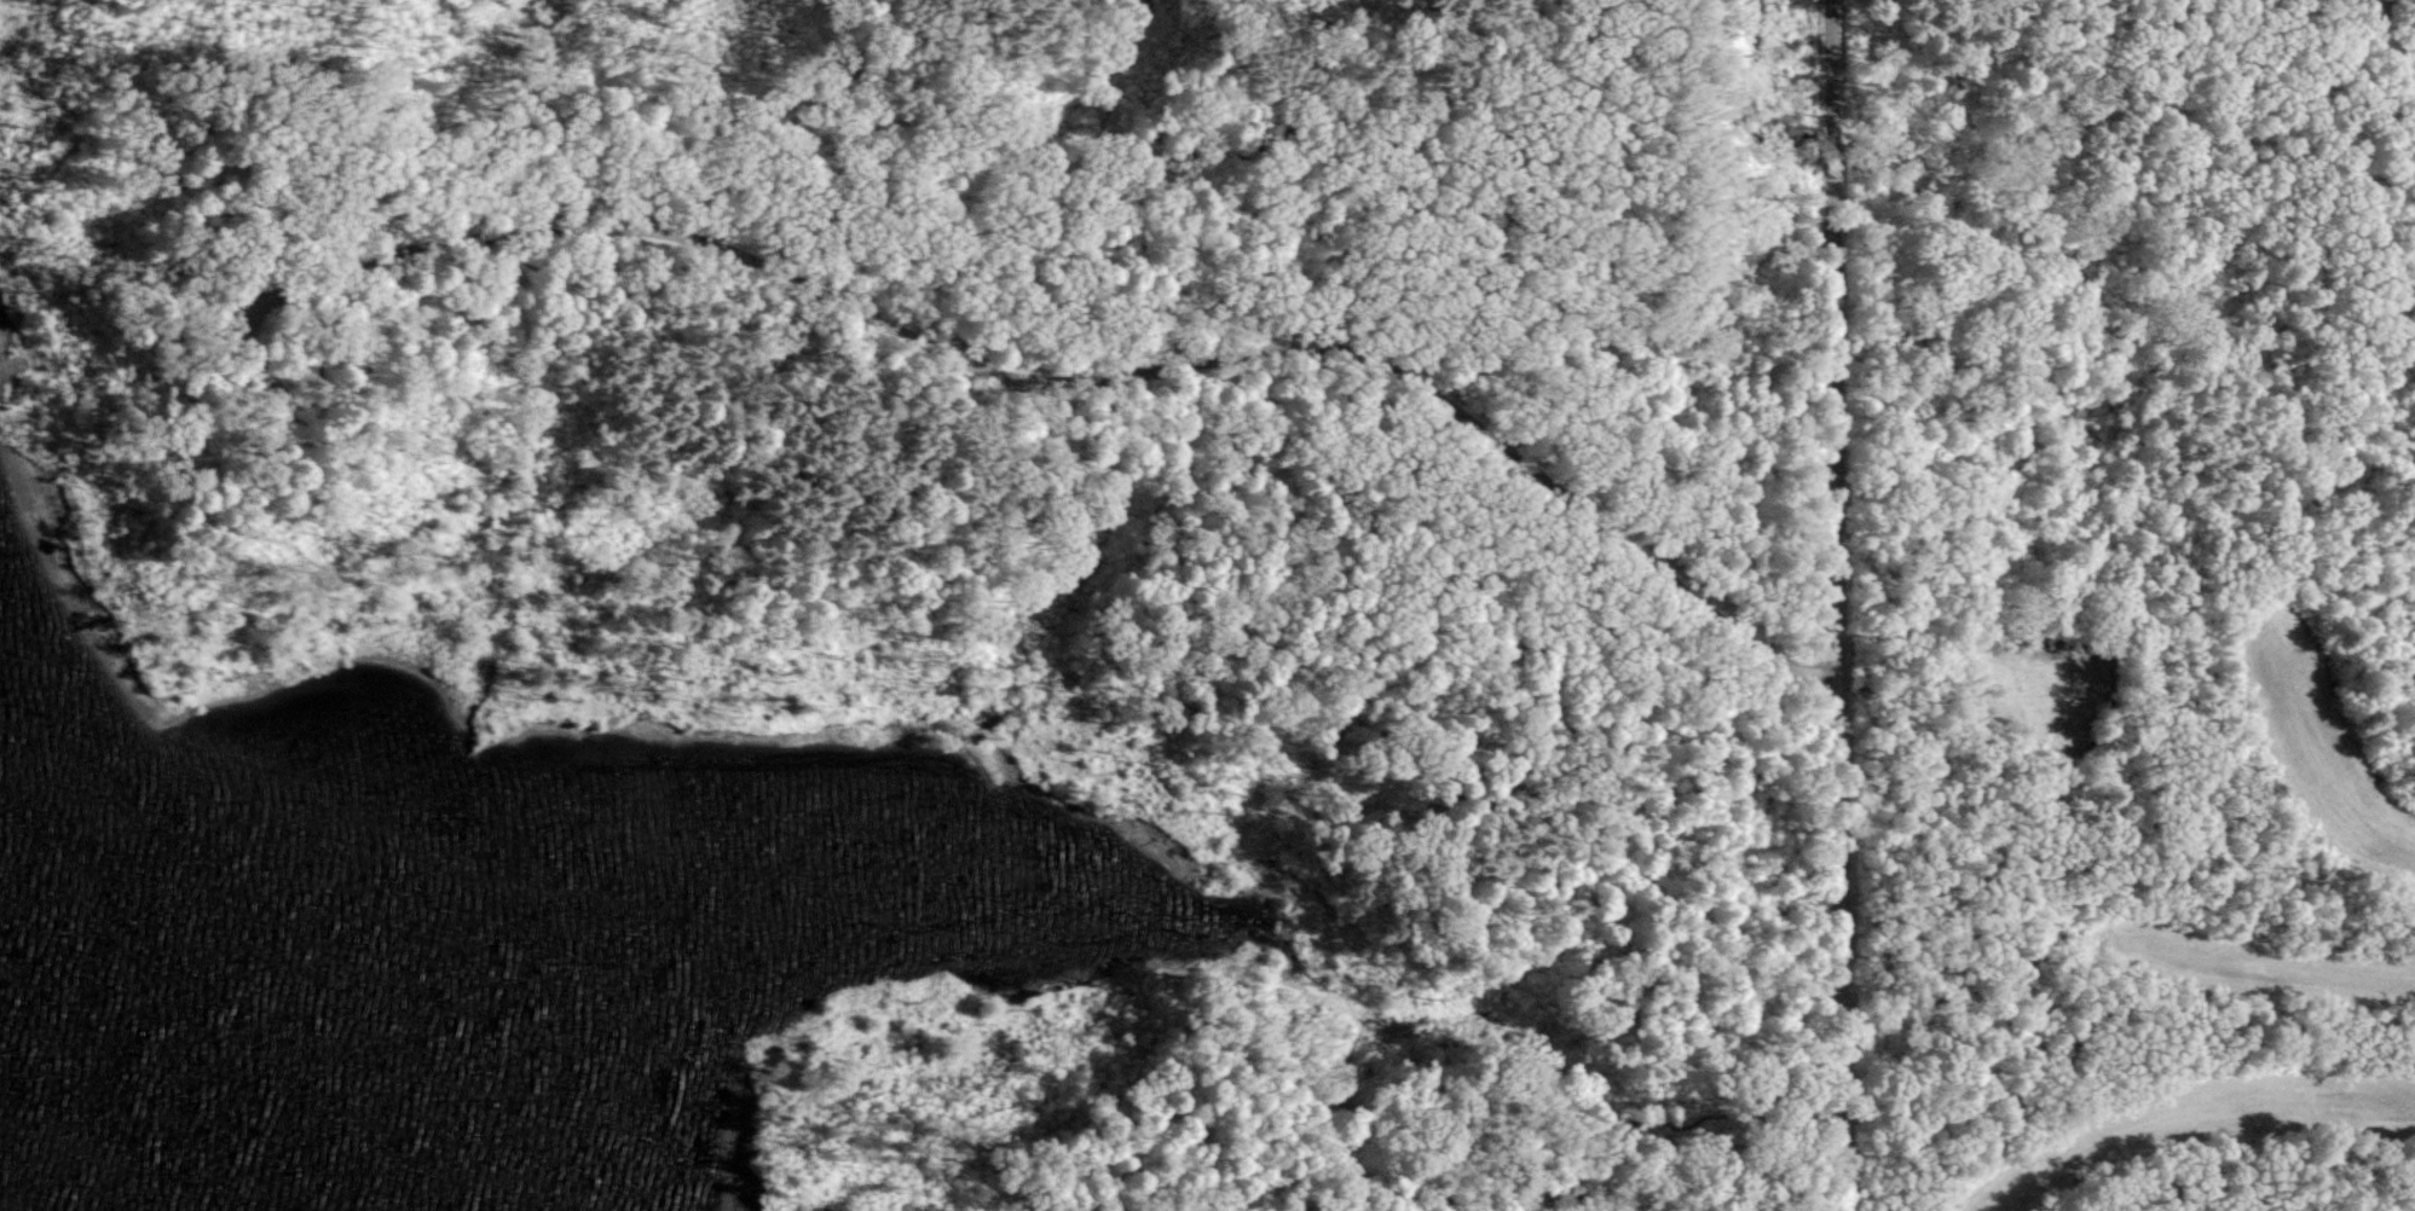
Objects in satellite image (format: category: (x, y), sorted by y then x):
road: (1090, 375)
road: (1828, 605)

